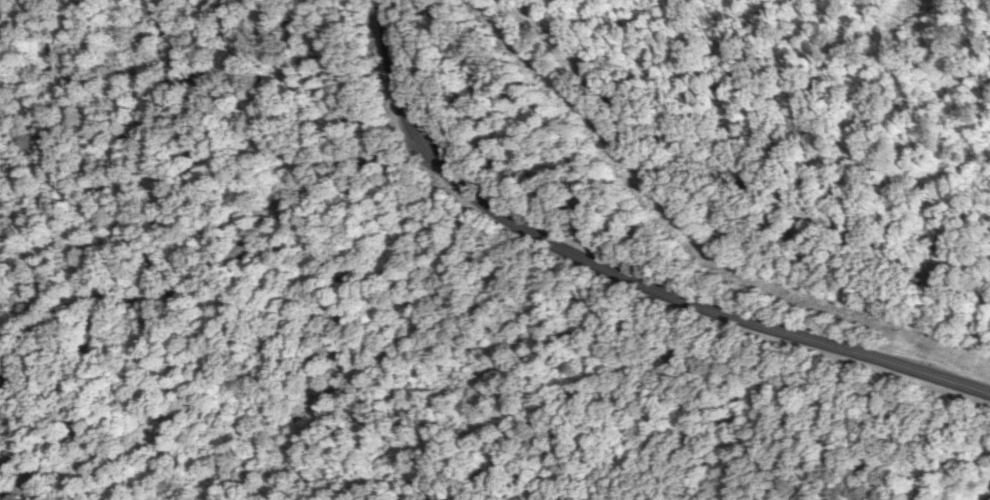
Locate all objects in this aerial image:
road: (621, 269)

